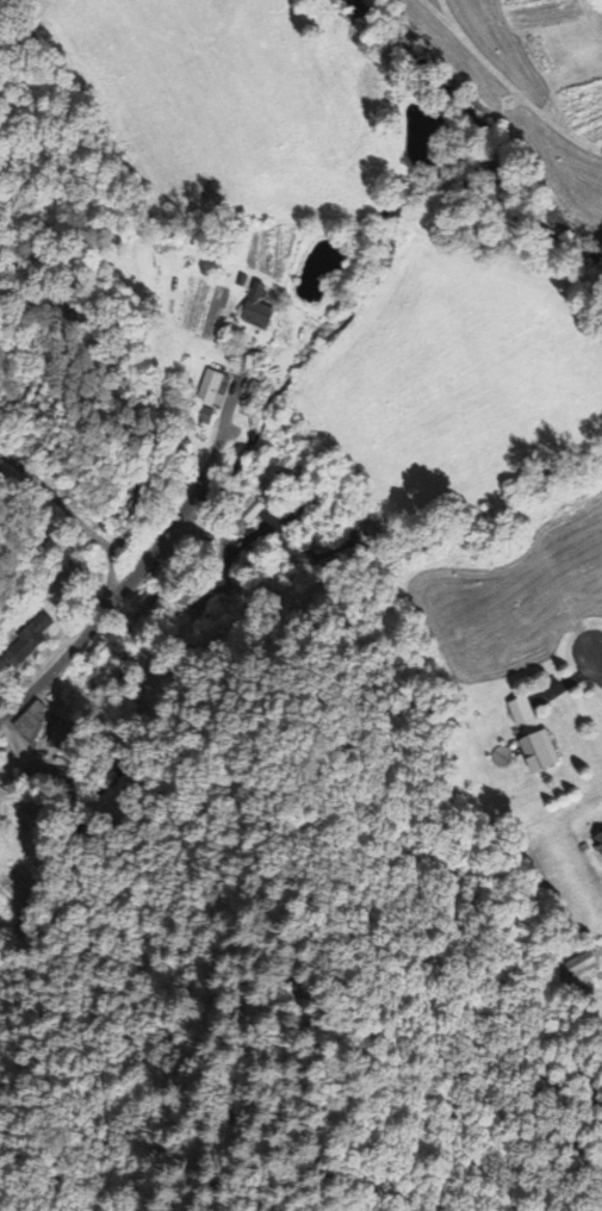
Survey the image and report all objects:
building: (261, 308)
building: (213, 397)
road: (114, 598)
building: (27, 642)
road: (597, 659)
building: (525, 713)
building: (37, 726)
building: (544, 753)
building: (600, 842)
building: (581, 965)

